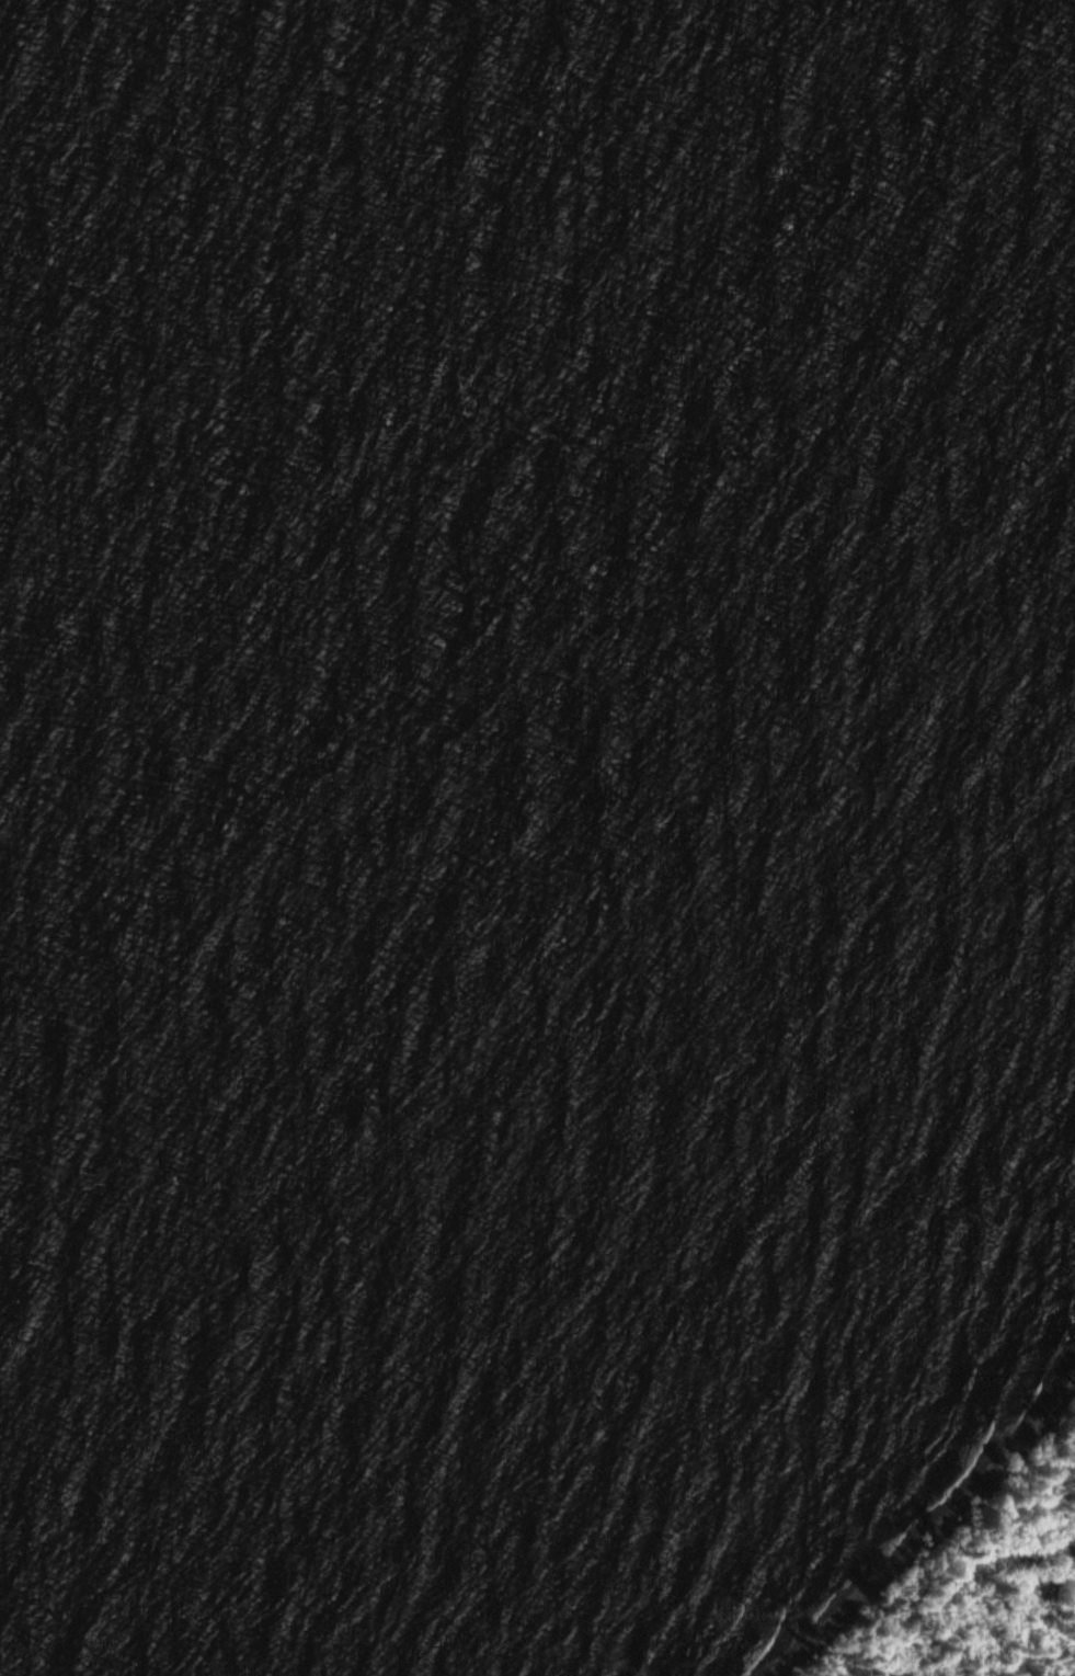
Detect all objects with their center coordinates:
park: (1023, 1449)

